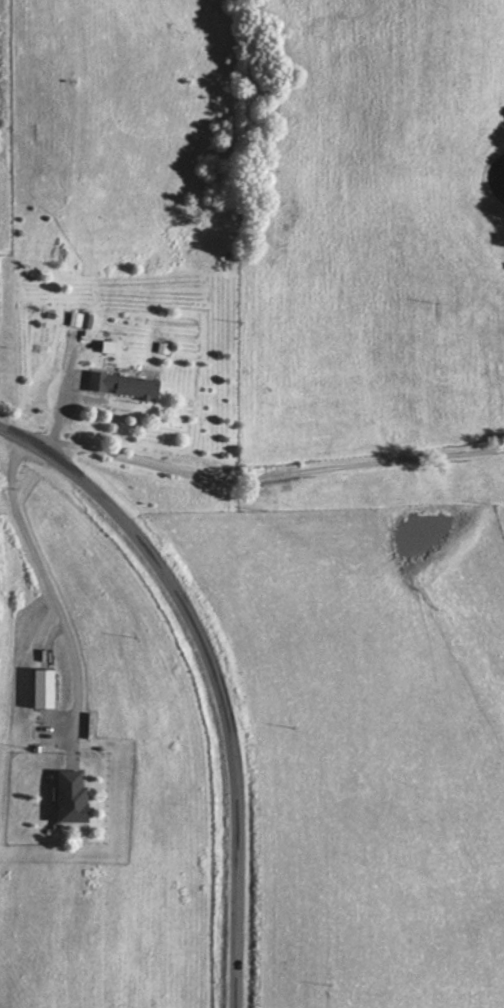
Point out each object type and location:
building: (77, 321)
building: (119, 384)
road: (263, 478)
road: (212, 677)
building: (47, 687)
building: (75, 796)

